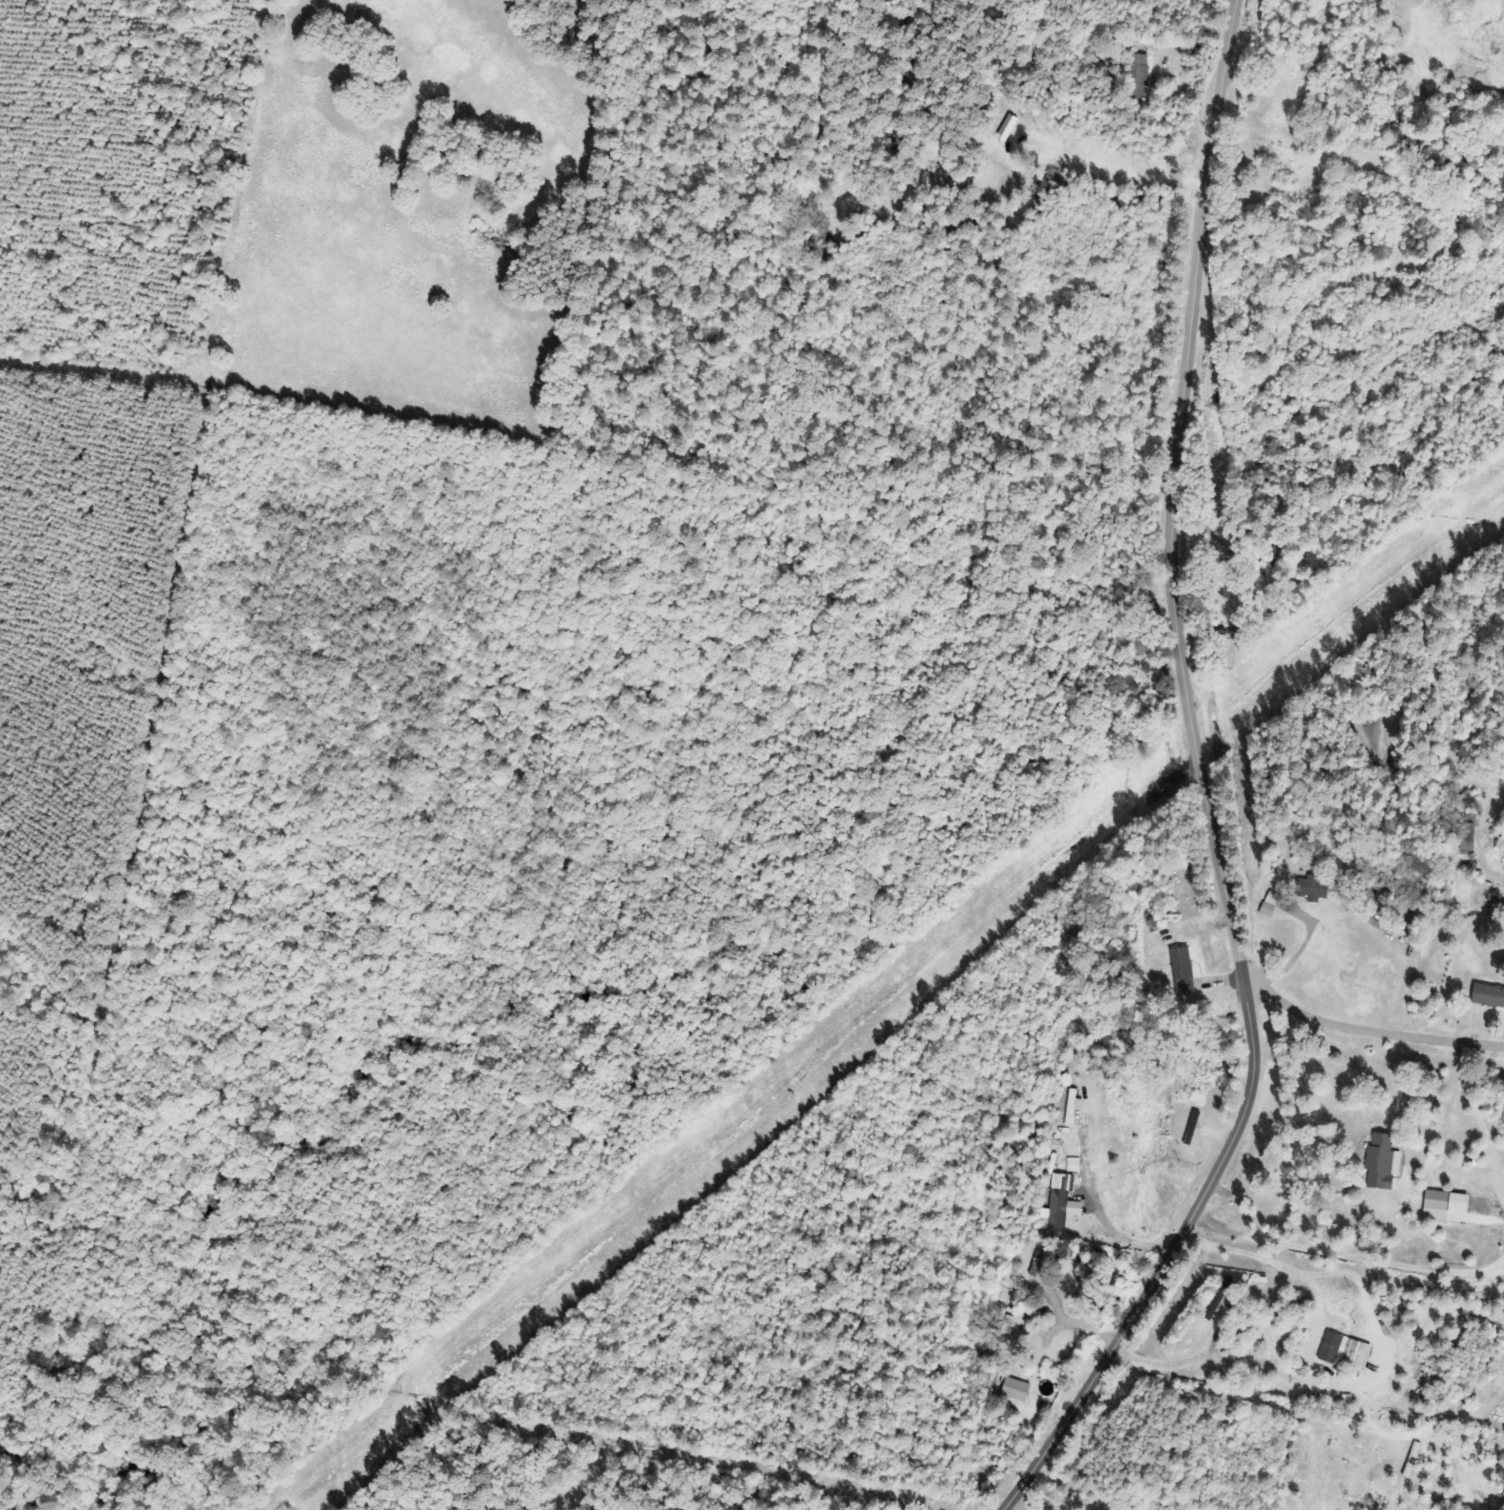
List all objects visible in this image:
road: (1204, 788)
building: (1469, 839)
building: (1315, 888)
building: (1184, 964)
building: (1489, 995)
road: (1368, 1031)
building: (1384, 1164)
building: (1066, 1201)
building: (1446, 1204)
building: (1043, 1264)
building: (1219, 1298)
building: (1347, 1351)
building: (1018, 1390)
road: (1019, 1505)

